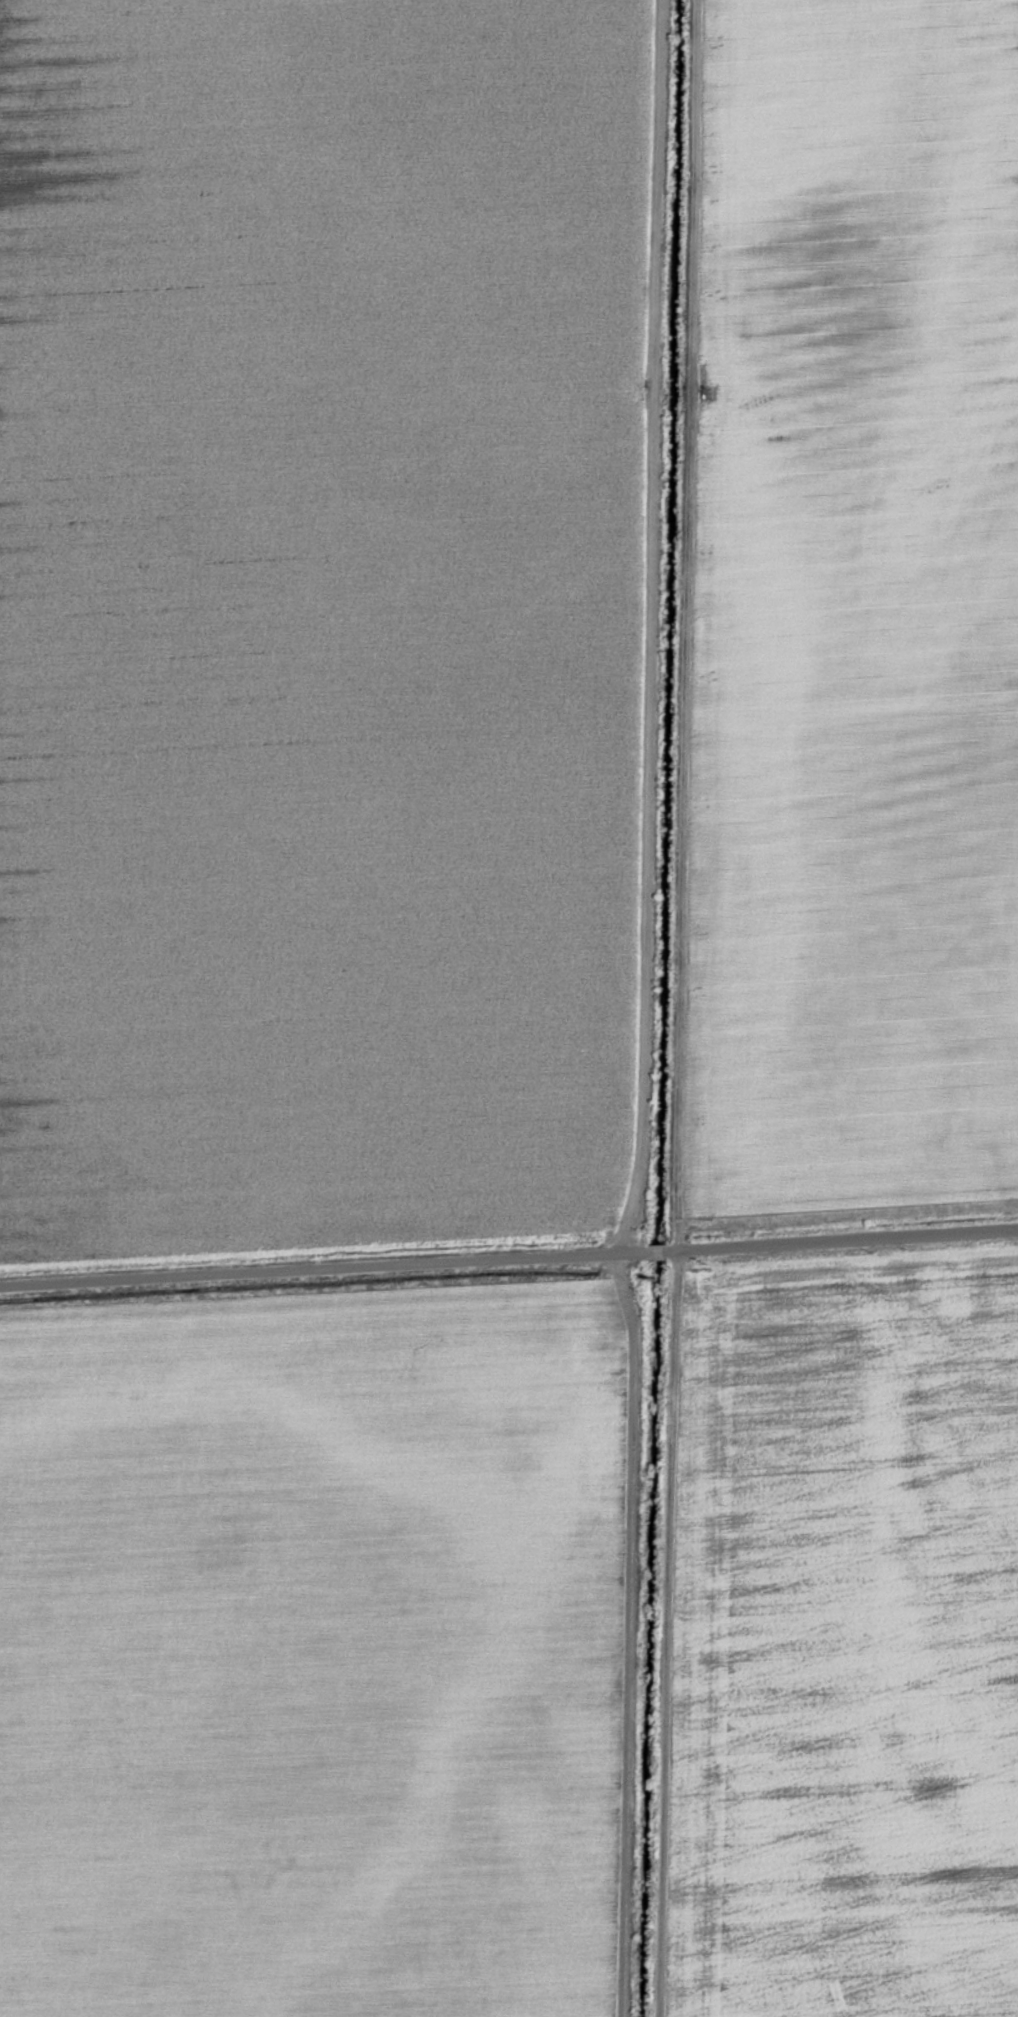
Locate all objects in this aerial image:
road: (508, 1258)

